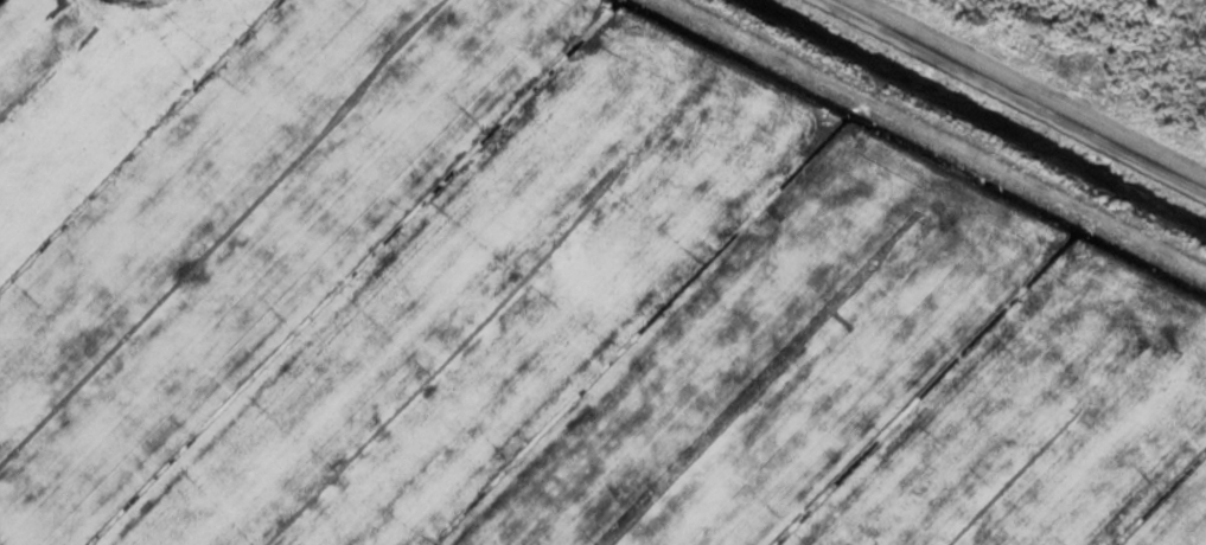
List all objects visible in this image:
road: (1008, 102)

